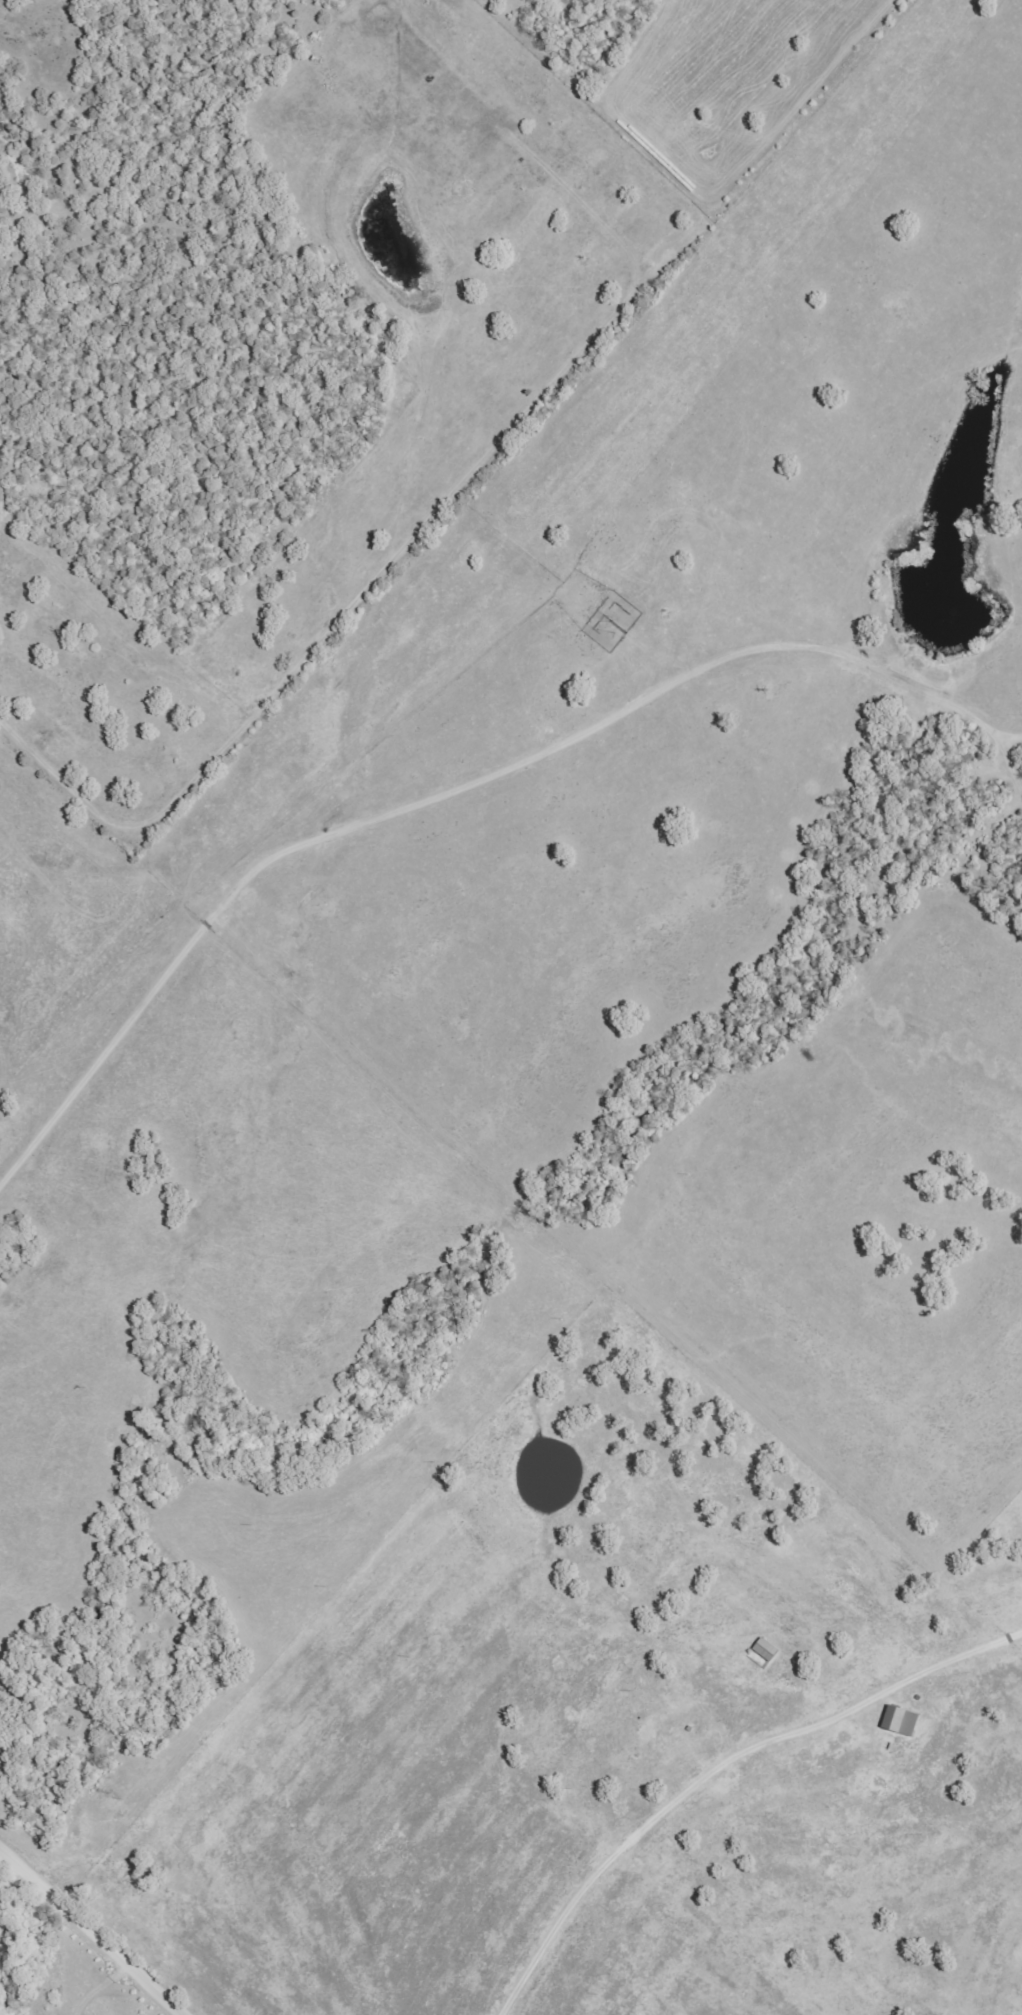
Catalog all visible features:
road: (74, 694)
road: (93, 1930)

